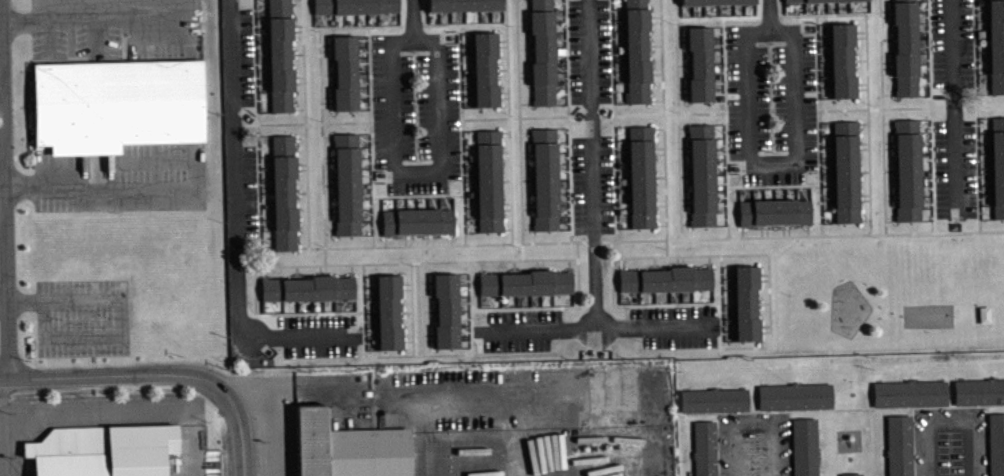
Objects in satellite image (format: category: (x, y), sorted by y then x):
building: (798, 0)
building: (714, 2)
building: (463, 5)
building: (354, 6)
road: (886, 10)
road: (749, 15)
road: (886, 15)
road: (144, 16)
road: (769, 16)
road: (90, 17)
road: (43, 18)
road: (414, 19)
road: (463, 22)
road: (297, 25)
road: (366, 26)
road: (297, 31)
road: (859, 31)
road: (771, 32)
road: (681, 35)
road: (860, 37)
road: (413, 39)
road: (888, 39)
road: (681, 41)
road: (326, 44)
building: (996, 45)
building: (904, 47)
road: (326, 50)
building: (637, 50)
parking lot: (590, 51)
building: (542, 52)
road: (297, 53)
road: (929, 53)
parking lot: (245, 56)
building: (280, 56)
road: (662, 56)
road: (859, 59)
building: (842, 60)
road: (724, 62)
road: (887, 62)
building: (699, 63)
road: (683, 64)
road: (976, 66)
road: (887, 67)
building: (484, 68)
road: (867, 71)
building: (345, 72)
road: (256, 73)
road: (328, 73)
road: (299, 76)
road: (299, 82)
road: (861, 82)
road: (683, 86)
road: (862, 89)
road: (683, 93)
road: (888, 93)
road: (327, 96)
road: (748, 96)
road: (795, 96)
road: (327, 102)
parking lot: (773, 102)
building: (115, 103)
road: (952, 103)
road: (393, 107)
road: (434, 107)
road: (299, 108)
parking lot: (954, 108)
parking lot: (416, 110)
road: (931, 113)
road: (525, 116)
road: (883, 116)
road: (345, 121)
road: (315, 122)
road: (863, 122)
road: (888, 122)
road: (924, 123)
road: (819, 124)
road: (658, 127)
road: (679, 127)
road: (683, 127)
road: (520, 129)
road: (509, 132)
road: (924, 138)
road: (889, 141)
road: (863, 142)
road: (658, 147)
road: (684, 147)
road: (889, 147)
road: (863, 148)
road: (924, 148)
road: (3, 149)
road: (615, 152)
road: (684, 152)
road: (658, 153)
road: (925, 157)
road: (153, 160)
road: (772, 161)
building: (997, 164)
road: (595, 165)
road: (235, 168)
road: (978, 168)
building: (906, 169)
building: (845, 170)
road: (890, 170)
road: (863, 171)
road: (156, 174)
building: (701, 174)
building: (640, 175)
road: (685, 175)
road: (413, 176)
road: (658, 176)
building: (544, 178)
road: (926, 178)
building: (488, 179)
building: (346, 183)
parking lot: (593, 184)
road: (258, 187)
road: (926, 187)
road: (7, 188)
road: (100, 189)
parking lot: (247, 190)
building: (283, 192)
road: (863, 193)
road: (686, 197)
road: (659, 199)
road: (863, 199)
road: (891, 199)
road: (926, 202)
road: (659, 204)
road: (686, 204)
building: (775, 212)
road: (927, 217)
road: (865, 219)
road: (890, 219)
building: (417, 220)
road: (685, 223)
road: (660, 224)
road: (783, 229)
road: (788, 229)
road: (809, 229)
road: (762, 230)
road: (767, 230)
road: (742, 231)
road: (810, 234)
road: (610, 240)
road: (302, 246)
road: (365, 246)
road: (421, 253)
road: (694, 254)
road: (677, 260)
road: (683, 260)
road: (709, 260)
road: (621, 262)
road: (654, 262)
road: (272, 265)
road: (325, 269)
road: (351, 269)
road: (320, 270)
road: (263, 271)
road: (297, 272)
road: (763, 273)
building: (665, 278)
road: (763, 279)
road: (405, 282)
road: (427, 282)
building: (526, 282)
road: (579, 282)
road: (363, 287)
building: (308, 288)
road: (405, 288)
road: (427, 288)
road: (4, 299)
road: (612, 299)
building: (746, 302)
road: (763, 303)
building: (445, 309)
road: (429, 310)
road: (405, 311)
building: (388, 312)
road: (423, 313)
building: (983, 313)
road: (121, 315)
park: (927, 315)
parking lot: (83, 316)
road: (765, 325)
parking lot: (675, 326)
parking lot: (517, 329)
road: (602, 331)
road: (765, 331)
road: (429, 333)
road: (407, 334)
parking lot: (320, 335)
road: (302, 338)
road: (407, 339)
road: (429, 339)
road: (771, 345)
road: (365, 355)
road: (144, 375)
road: (308, 390)
building: (979, 391)
building: (909, 392)
building: (794, 395)
building: (713, 399)
road: (843, 408)
road: (86, 413)
road: (273, 415)
road: (949, 419)
road: (753, 420)
road: (986, 440)
road: (913, 441)
road: (790, 443)
building: (996, 443)
road: (717, 444)
building: (899, 445)
building: (804, 446)
building: (347, 448)
building: (704, 448)
building: (103, 450)
building: (753, 454)
building: (949, 455)
road: (241, 463)
building: (851, 474)

